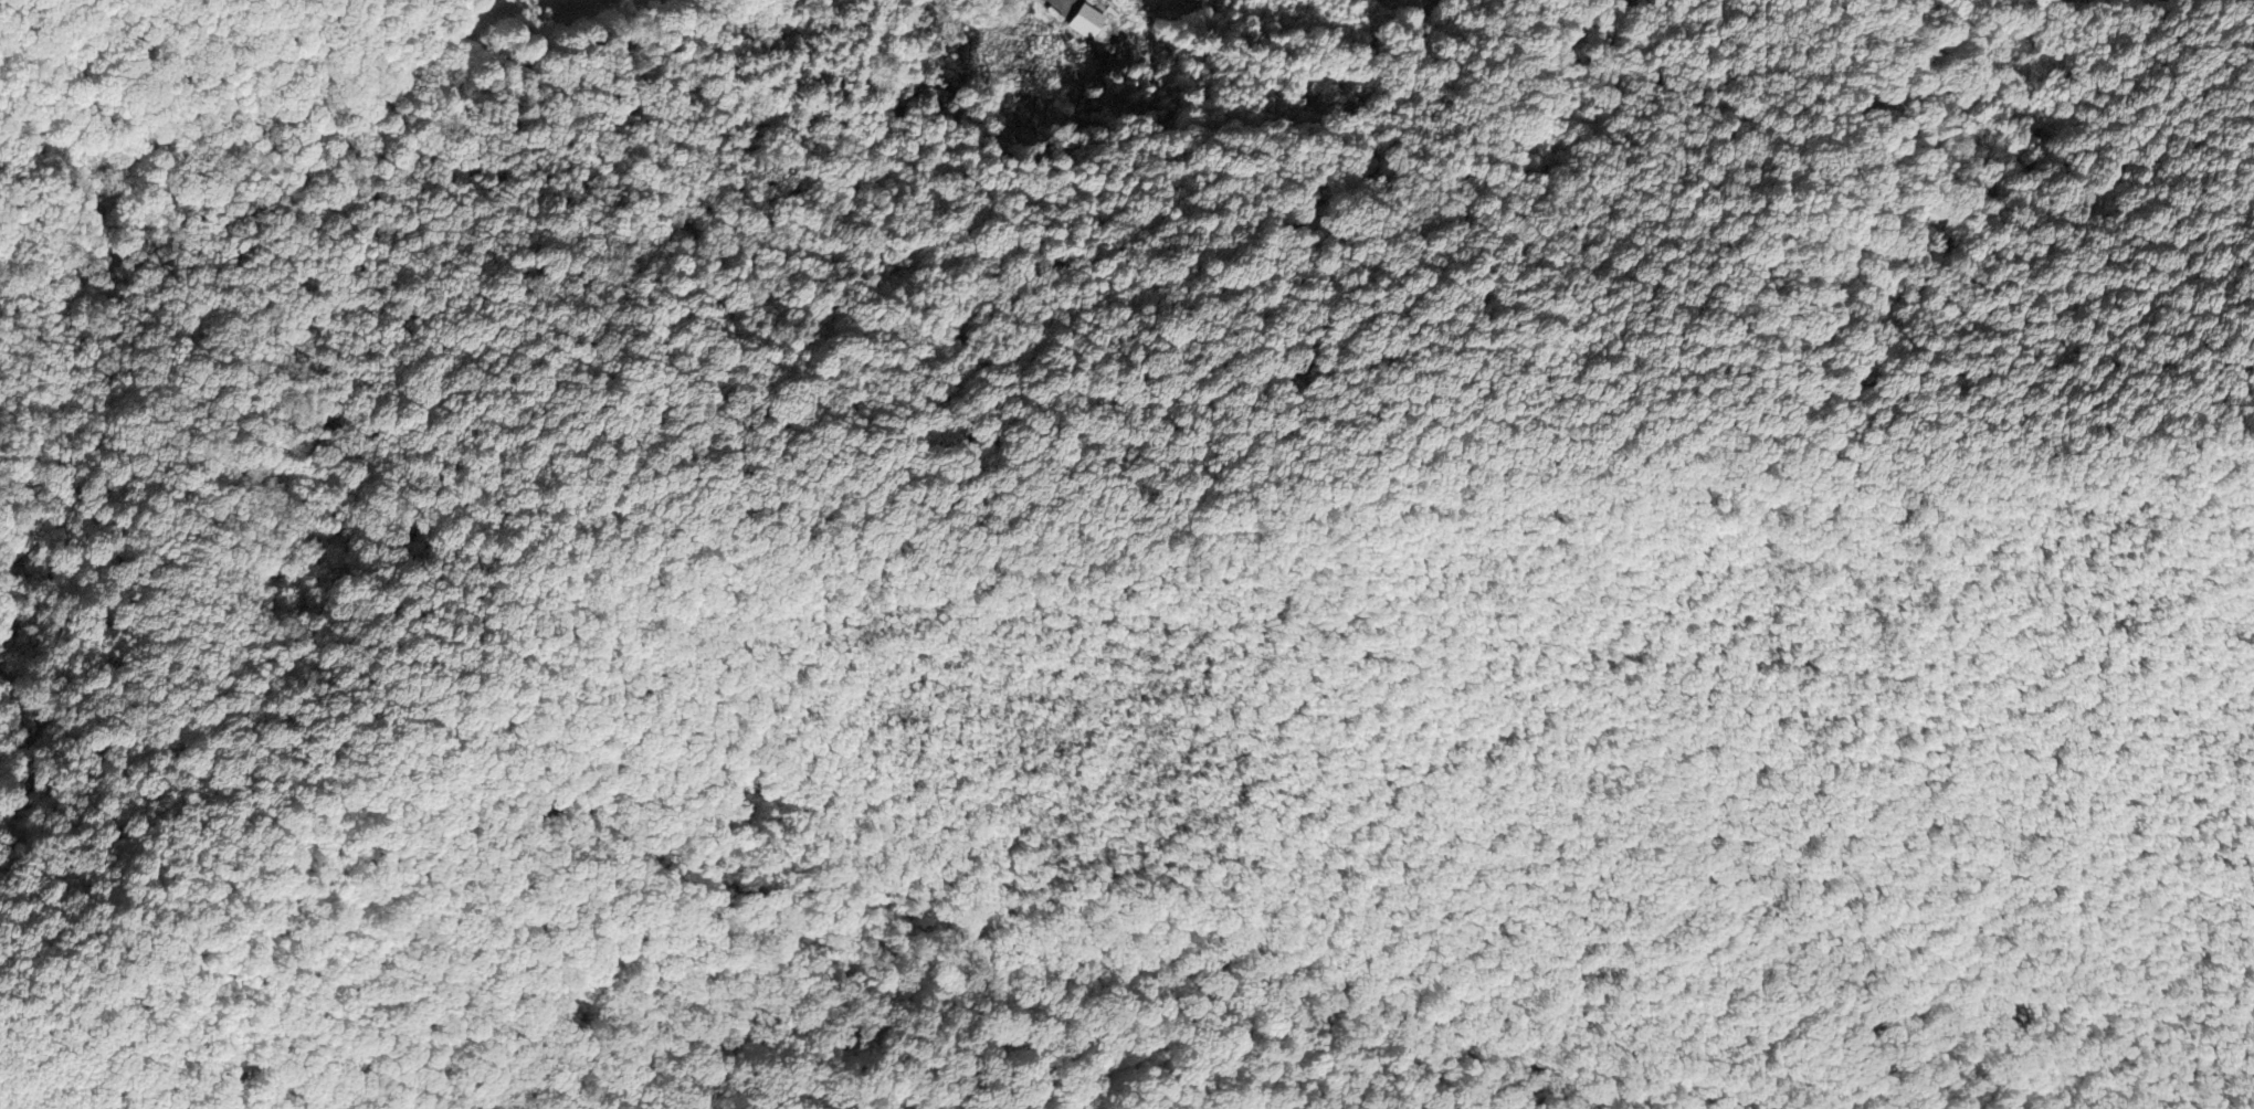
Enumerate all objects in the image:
building: (1083, 20)

